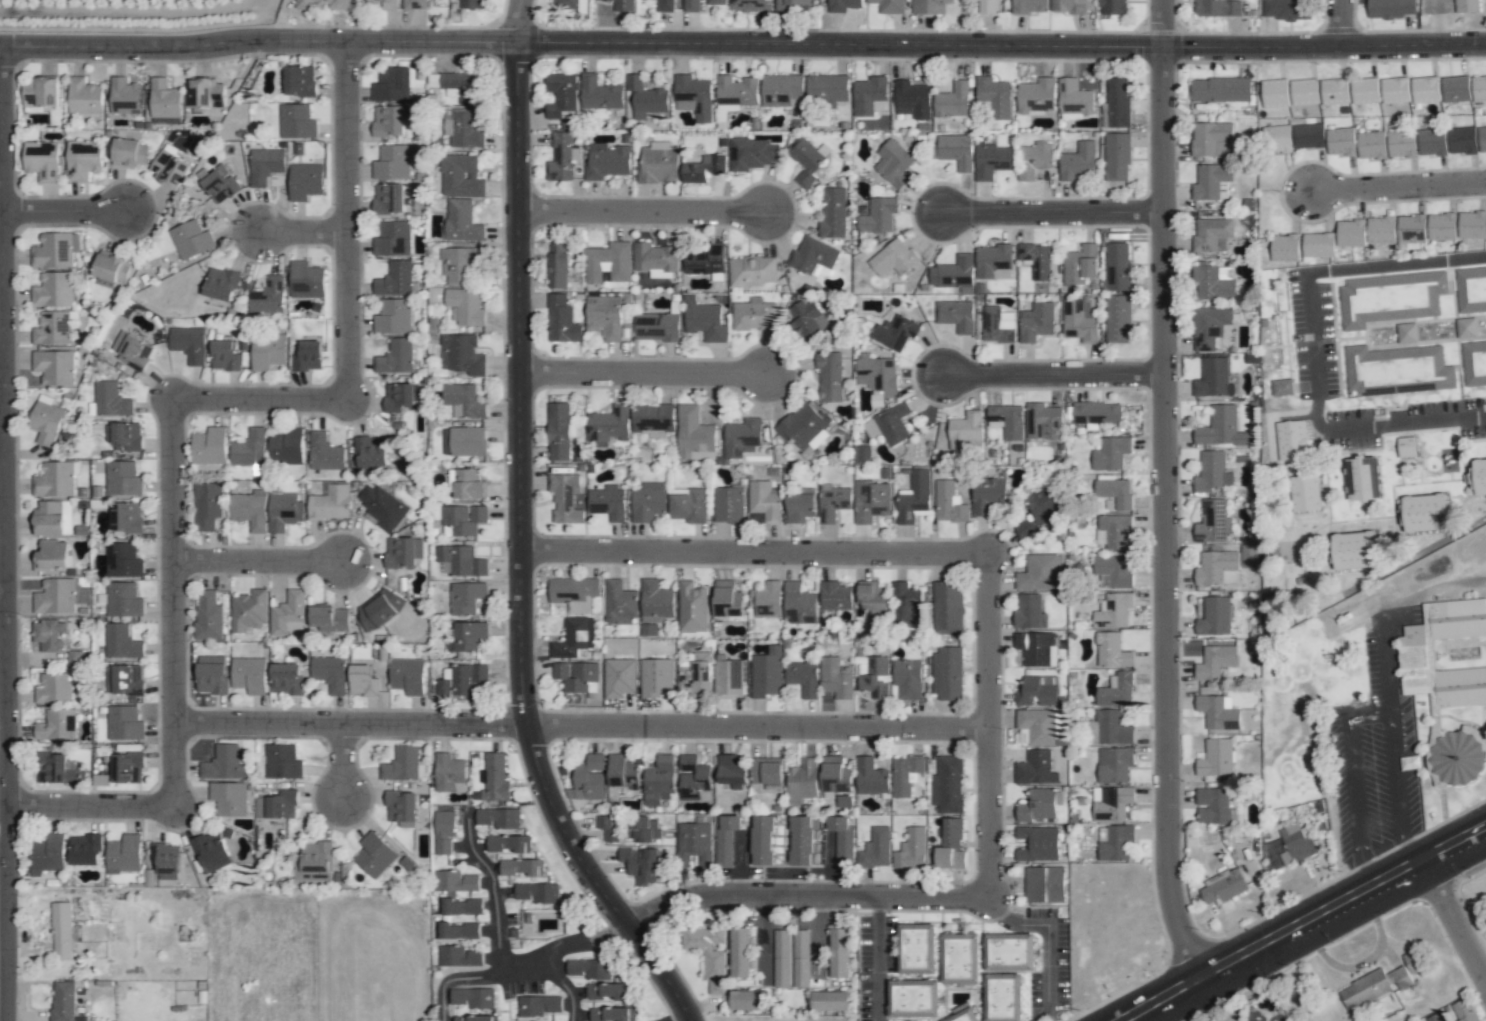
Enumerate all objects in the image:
building: (985, 0)
building: (1042, 0)
building: (626, 3)
building: (323, 4)
building: (388, 4)
building: (415, 4)
building: (471, 4)
building: (750, 5)
building: (784, 5)
building: (1204, 5)
building: (1466, 6)
building: (1393, 7)
building: (1286, 9)
crop: (143, 20)
road: (1438, 22)
road: (1342, 25)
road: (743, 46)
building: (300, 81)
building: (391, 85)
building: (461, 87)
building: (827, 88)
building: (1479, 88)
building: (1425, 89)
building: (1455, 89)
building: (782, 90)
building: (1220, 90)
building: (1395, 90)
building: (1334, 91)
building: (1363, 91)
building: (40, 92)
building: (992, 92)
building: (1304, 92)
building: (207, 93)
building: (735, 93)
building: (1275, 93)
building: (599, 94)
building: (560, 95)
building: (1032, 95)
building: (124, 96)
building: (84, 97)
building: (693, 97)
building: (646, 98)
building: (865, 98)
building: (1074, 99)
building: (913, 101)
building: (952, 101)
building: (164, 102)
building: (1118, 102)
building: (388, 121)
building: (296, 122)
building: (465, 130)
building: (1307, 136)
building: (1211, 138)
building: (1278, 139)
building: (1482, 139)
building: (1462, 140)
building: (1341, 141)
building: (1432, 142)
building: (1401, 144)
building: (1371, 145)
building: (953, 146)
building: (129, 153)
building: (753, 154)
building: (560, 157)
building: (41, 160)
building: (83, 160)
building: (805, 160)
building: (993, 160)
building: (1033, 160)
building: (606, 161)
building: (392, 162)
building: (894, 162)
building: (1077, 162)
building: (659, 163)
building: (265, 165)
building: (1116, 165)
building: (168, 170)
building: (695, 172)
building: (461, 176)
building: (305, 181)
building: (1212, 182)
building: (220, 184)
road: (1401, 190)
building: (388, 198)
road: (67, 211)
road: (646, 211)
building: (833, 212)
road: (1057, 213)
building: (877, 217)
building: (462, 221)
building: (1472, 225)
building: (1441, 227)
building: (1411, 229)
building: (1381, 230)
road: (306, 231)
building: (1211, 232)
building: (1351, 233)
building: (392, 239)
building: (191, 240)
building: (1318, 245)
building: (1284, 248)
building: (55, 250)
building: (642, 250)
building: (813, 255)
building: (704, 258)
building: (894, 258)
building: (1122, 259)
building: (1036, 260)
building: (608, 262)
building: (993, 262)
building: (459, 264)
building: (1080, 264)
building: (557, 266)
building: (107, 267)
building: (753, 271)
building: (953, 272)
building: (305, 280)
building: (396, 280)
building: (1213, 283)
building: (220, 284)
road: (1306, 284)
building: (53, 290)
building: (1471, 290)
building: (267, 297)
building: (1390, 298)
building: (465, 306)
building: (604, 315)
building: (955, 315)
building: (393, 316)
building: (754, 316)
building: (806, 316)
building: (1118, 317)
building: (704, 320)
building: (561, 321)
building: (1036, 322)
building: (997, 325)
building: (1081, 325)
building: (1209, 326)
building: (657, 327)
building: (51, 328)
building: (1466, 328)
building: (895, 332)
building: (1407, 333)
building: (189, 344)
building: (129, 350)
building: (267, 352)
building: (462, 355)
building: (224, 356)
building: (308, 356)
building: (395, 357)
building: (1474, 363)
building: (53, 367)
building: (1397, 370)
road: (646, 372)
building: (876, 374)
road: (1059, 374)
road: (2, 375)
building: (829, 377)
building: (1213, 377)
building: (1281, 387)
building: (398, 397)
building: (876, 398)
building: (110, 400)
building: (463, 401)
building: (1093, 413)
building: (653, 418)
building: (45, 420)
building: (1006, 421)
building: (611, 422)
building: (1043, 422)
road: (1426, 423)
building: (891, 424)
building: (1218, 426)
building: (803, 427)
road: (175, 429)
building: (965, 430)
building: (559, 431)
building: (694, 433)
building: (742, 435)
building: (124, 436)
building: (1291, 440)
building: (467, 441)
building: (209, 446)
building: (286, 447)
building: (1407, 447)
building: (249, 448)
building: (324, 452)
building: (371, 452)
building: (861, 453)
building: (1111, 453)
building: (1212, 471)
building: (1479, 476)
building: (122, 478)
building: (55, 479)
building: (1362, 479)
building: (468, 484)
road: (1170, 491)
building: (1115, 492)
building: (1306, 493)
building: (564, 497)
building: (913, 497)
building: (649, 501)
building: (871, 501)
building: (608, 502)
building: (832, 502)
building: (330, 503)
building: (763, 503)
building: (948, 503)
building: (1043, 504)
building: (728, 505)
building: (207, 506)
building: (689, 506)
building: (382, 507)
building: (800, 507)
building: (250, 510)
building: (284, 512)
building: (1424, 513)
building: (52, 518)
building: (127, 518)
building: (462, 520)
building: (1212, 521)
building: (1025, 529)
building: (1113, 531)
road: (524, 533)
road: (5, 534)
road: (758, 551)
building: (1355, 551)
building: (400, 552)
building: (51, 556)
building: (1249, 556)
building: (122, 560)
road: (260, 561)
building: (460, 561)
building: (1222, 561)
building: (1111, 572)
building: (1039, 573)
building: (567, 590)
road: (3, 592)
building: (59, 596)
building: (835, 596)
building: (466, 597)
building: (724, 597)
building: (872, 597)
building: (690, 598)
building: (767, 599)
building: (123, 600)
building: (655, 601)
building: (904, 602)
building: (618, 603)
building: (799, 604)
building: (249, 610)
building: (380, 610)
building: (948, 610)
building: (1114, 611)
building: (1029, 612)
road: (1388, 612)
building: (287, 613)
building: (208, 616)
building: (1214, 617)
building: (329, 619)
building: (648, 629)
building: (48, 634)
building: (469, 636)
building: (574, 637)
building: (121, 643)
building: (1036, 648)
building: (1109, 649)
building: (1416, 653)
building: (1215, 661)
building: (954, 668)
building: (329, 673)
building: (766, 673)
building: (211, 674)
building: (249, 675)
building: (696, 675)
building: (407, 676)
building: (577, 676)
building: (619, 677)
building: (656, 677)
building: (802, 677)
building: (728, 678)
building: (836, 678)
building: (286, 679)
building: (907, 679)
building: (123, 680)
building: (362, 680)
building: (461, 680)
building: (53, 688)
building: (1037, 690)
building: (1116, 692)
building: (1217, 712)
road: (994, 722)
building: (124, 723)
road: (585, 723)
building: (56, 725)
building: (1037, 725)
building: (1109, 729)
building: (1459, 756)
road: (346, 758)
building: (1216, 758)
building: (282, 762)
building: (223, 764)
building: (688, 764)
building: (403, 765)
building: (1113, 765)
building: (127, 767)
building: (58, 769)
building: (1032, 770)
building: (621, 771)
building: (730, 771)
building: (766, 772)
building: (449, 773)
building: (905, 774)
building: (809, 775)
building: (835, 776)
building: (493, 777)
building: (870, 777)
building: (589, 778)
building: (658, 781)
building: (948, 785)
road: (1353, 785)
road: (1395, 790)
building: (228, 799)
building: (1110, 804)
building: (277, 805)
building: (1038, 805)
building: (1213, 806)
building: (401, 808)
building: (497, 818)
building: (607, 827)
building: (640, 829)
building: (444, 831)
building: (951, 832)
building: (694, 839)
building: (725, 839)
building: (761, 840)
building: (802, 840)
building: (842, 841)
building: (1297, 842)
building: (1036, 843)
building: (1116, 843)
building: (506, 844)
building: (84, 849)
building: (876, 849)
building: (911, 850)
building: (211, 851)
building: (47, 854)
building: (124, 854)
building: (374, 855)
building: (949, 858)
building: (165, 860)
building: (313, 862)
building: (640, 863)
building: (517, 867)
building: (1044, 886)
building: (1222, 888)
building: (538, 892)
road: (812, 892)
building: (447, 894)
road: (1454, 920)
road: (1303, 923)
building: (63, 931)
building: (457, 931)
road: (1044, 937)
building: (702, 938)
building: (1007, 949)
building: (916, 950)
building: (740, 952)
building: (839, 953)
building: (460, 956)
road: (874, 956)
building: (781, 958)
building: (800, 958)
building: (958, 959)
road: (501, 963)
building: (589, 969)
building: (714, 973)
building: (1400, 977)
road: (452, 979)
building: (1366, 988)
road: (563, 990)
building: (606, 991)
building: (473, 997)
building: (1001, 997)
building: (751, 999)
building: (912, 999)
building: (63, 1001)
building: (830, 1001)
building: (540, 1005)
building: (610, 1014)
building: (964, 1016)
building: (1436, 1017)
building: (473, 1018)
building: (1470, 1019)

